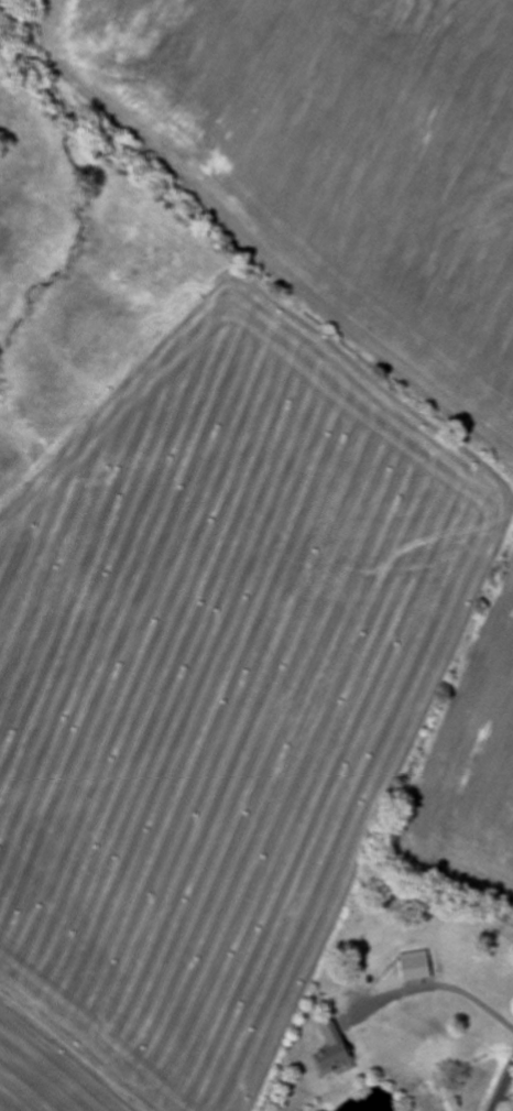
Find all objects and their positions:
building: (376, 971)
road: (69, 1053)
building: (326, 1058)
road: (501, 1088)

